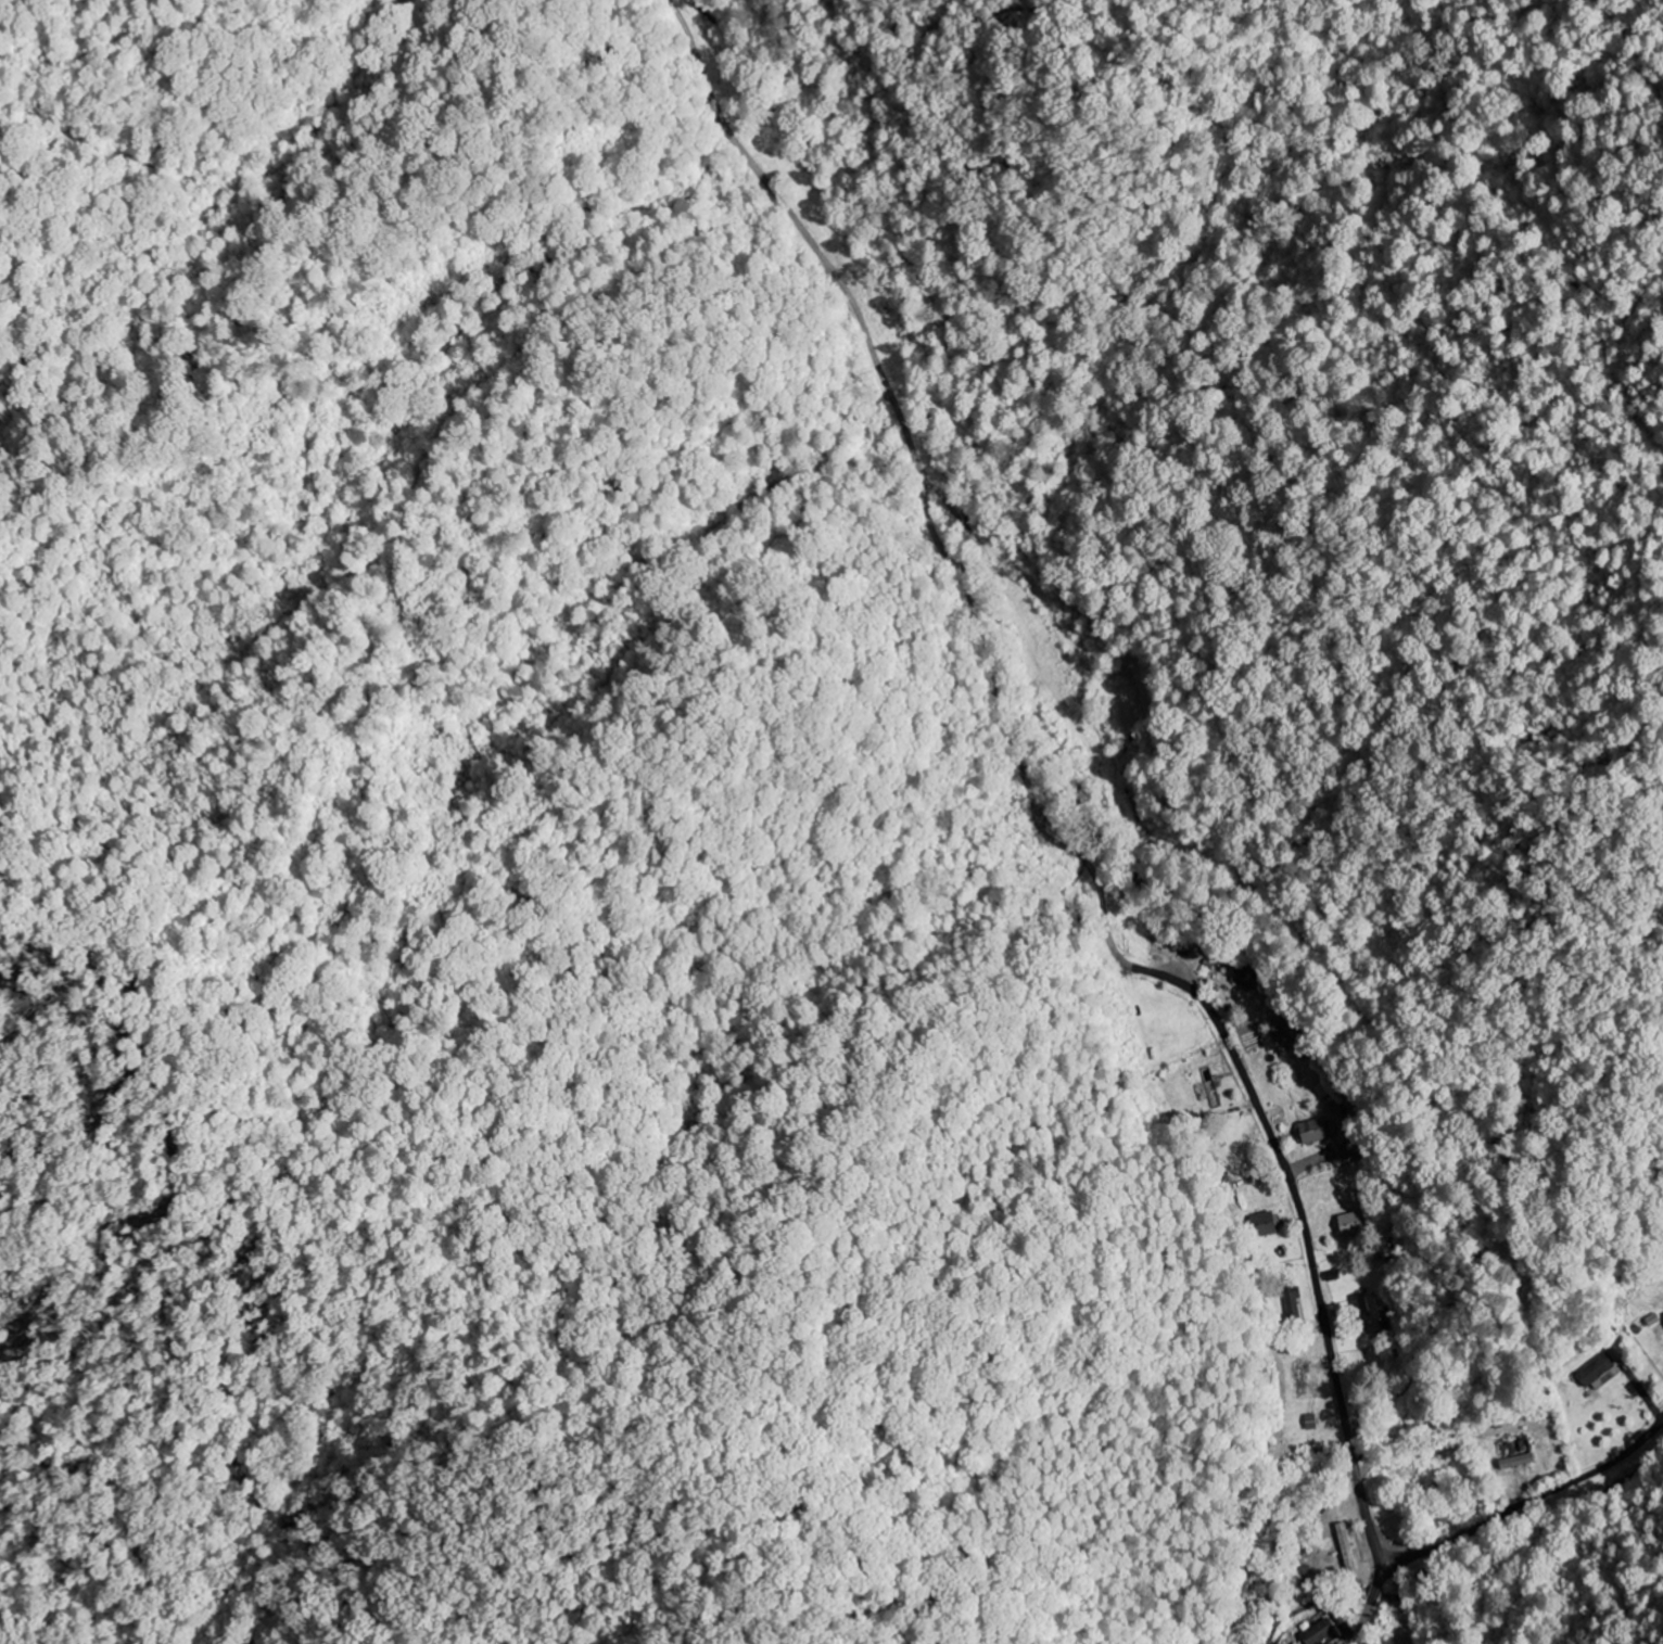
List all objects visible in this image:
building: (1245, 981)
building: (1353, 1151)
building: (1354, 1225)
road: (1310, 1244)
building: (1379, 1314)
building: (1595, 1372)
building: (1520, 1462)
road: (1532, 1501)
road: (1372, 1604)
building: (1322, 1633)
road: (1355, 1643)

